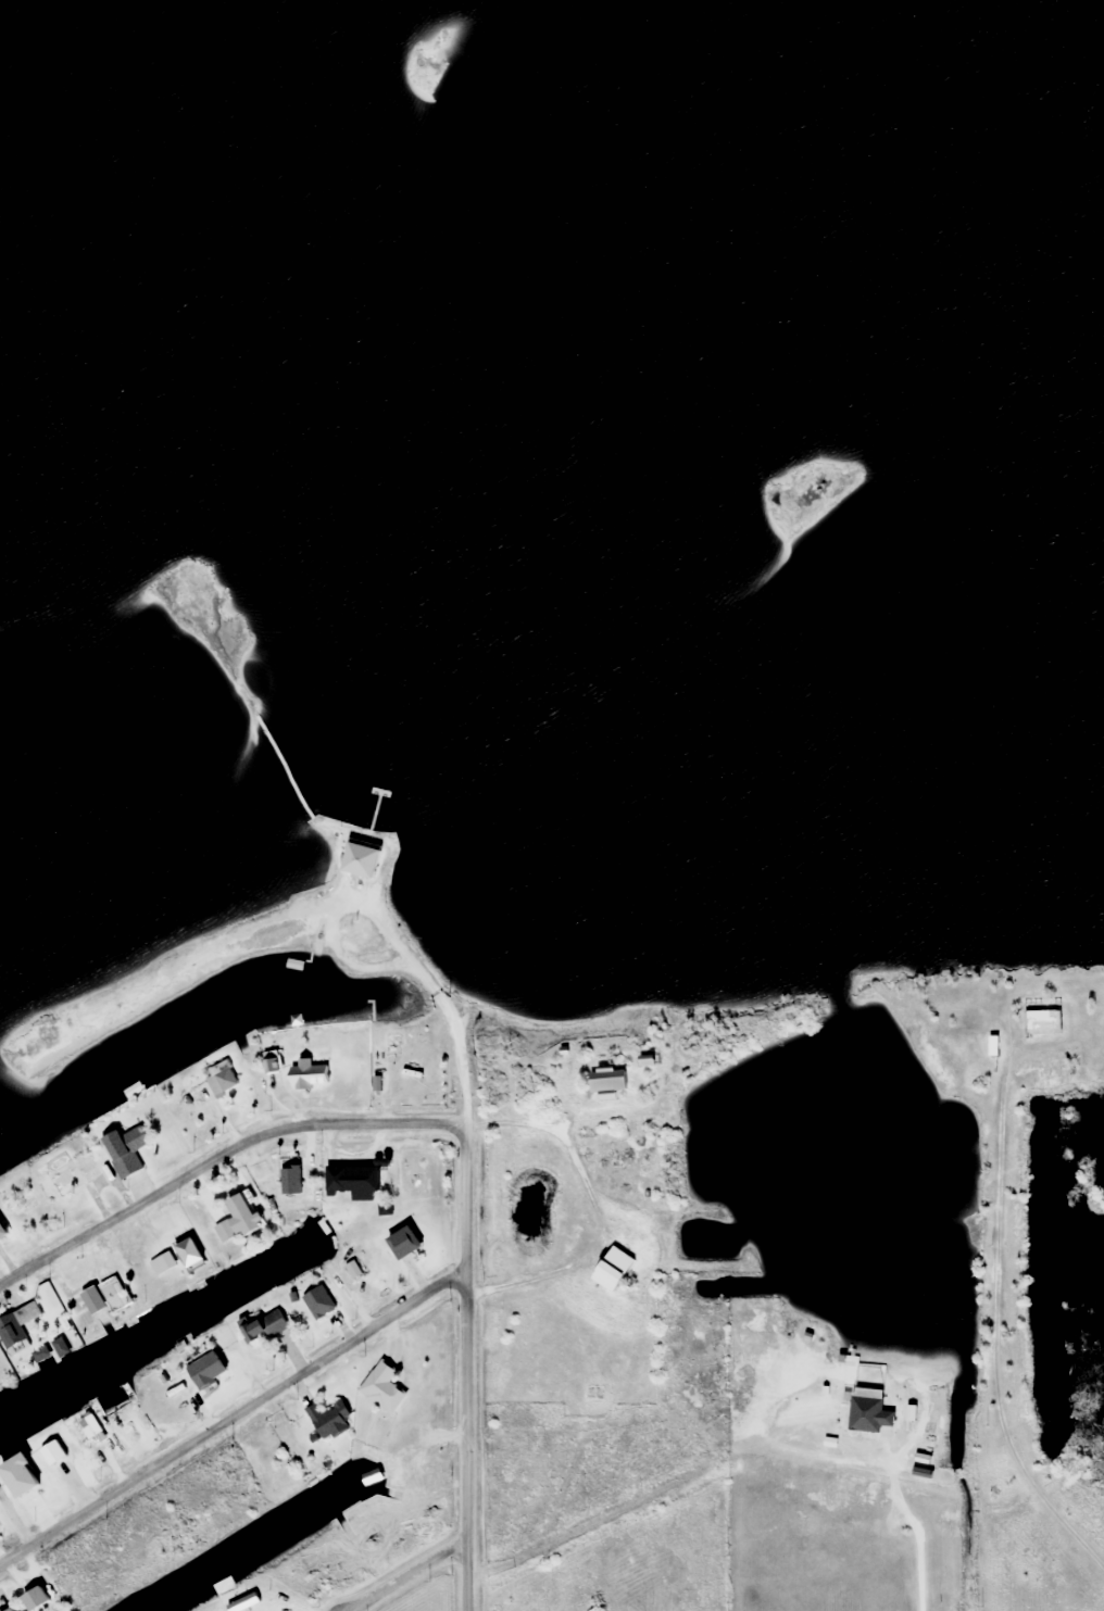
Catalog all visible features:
building: (359, 859)
road: (436, 1000)
building: (1039, 1018)
building: (308, 1073)
building: (605, 1079)
building: (213, 1084)
building: (124, 1149)
road: (216, 1151)
building: (78, 1173)
building: (351, 1181)
building: (298, 1194)
building: (240, 1212)
building: (2, 1230)
building: (224, 1231)
building: (401, 1242)
building: (186, 1249)
building: (161, 1263)
building: (354, 1269)
building: (612, 1269)
building: (113, 1295)
building: (317, 1301)
building: (16, 1324)
building: (262, 1325)
road: (462, 1367)
building: (204, 1370)
building: (381, 1387)
road: (230, 1412)
building: (866, 1413)
building: (328, 1420)
building: (89, 1425)
building: (17, 1473)
building: (34, 1598)
building: (8, 1609)

